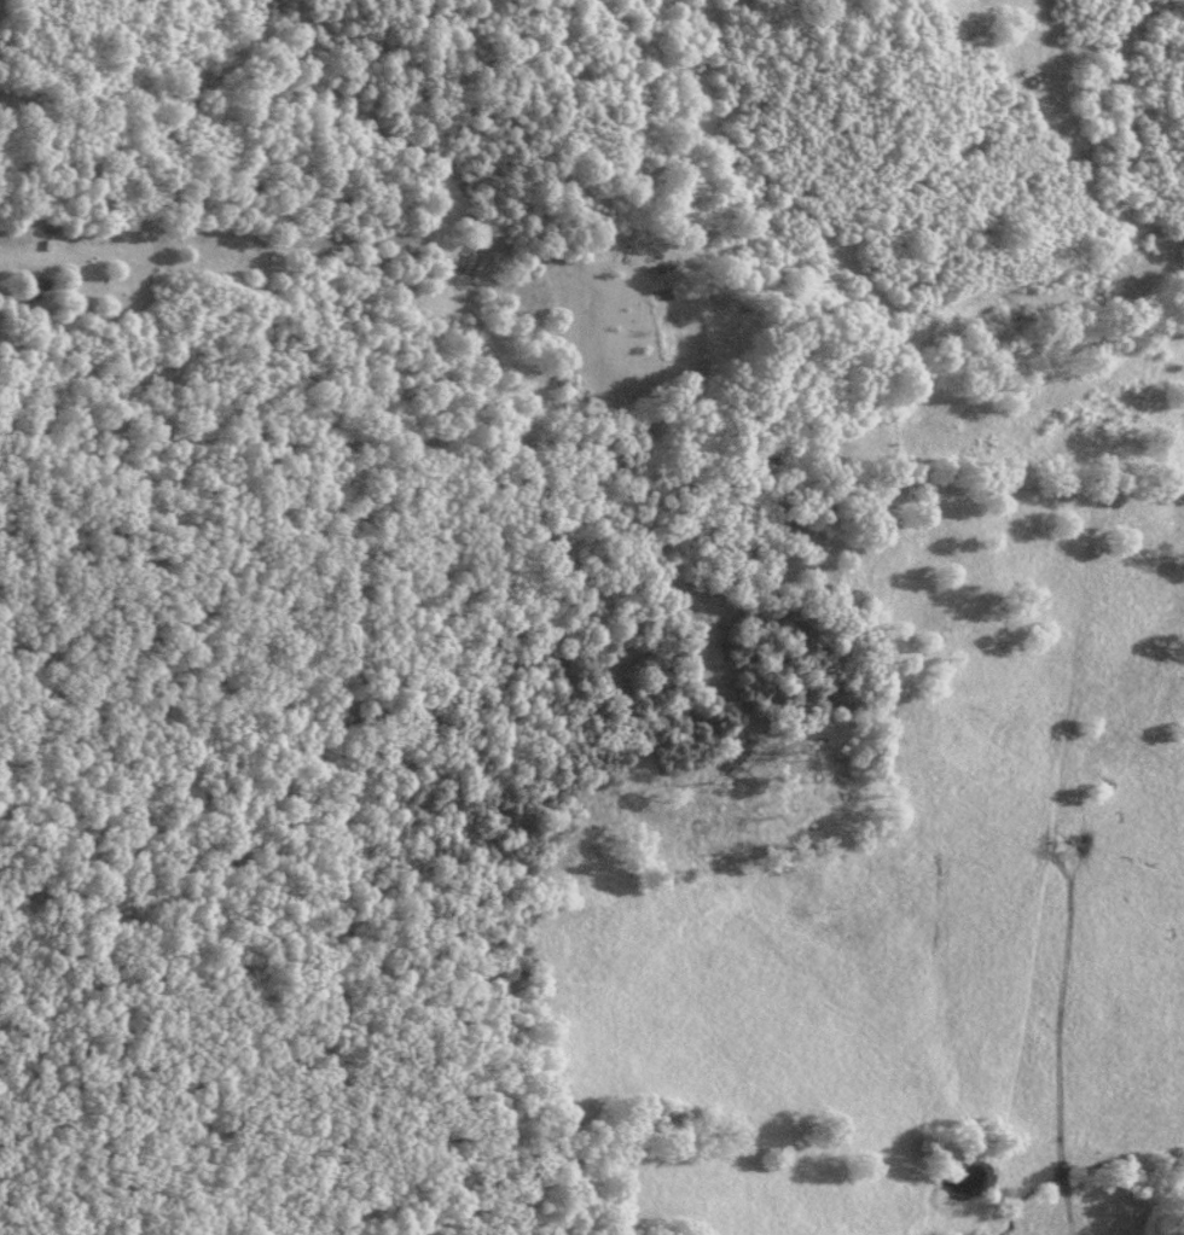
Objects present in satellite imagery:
building: (35, 282)

